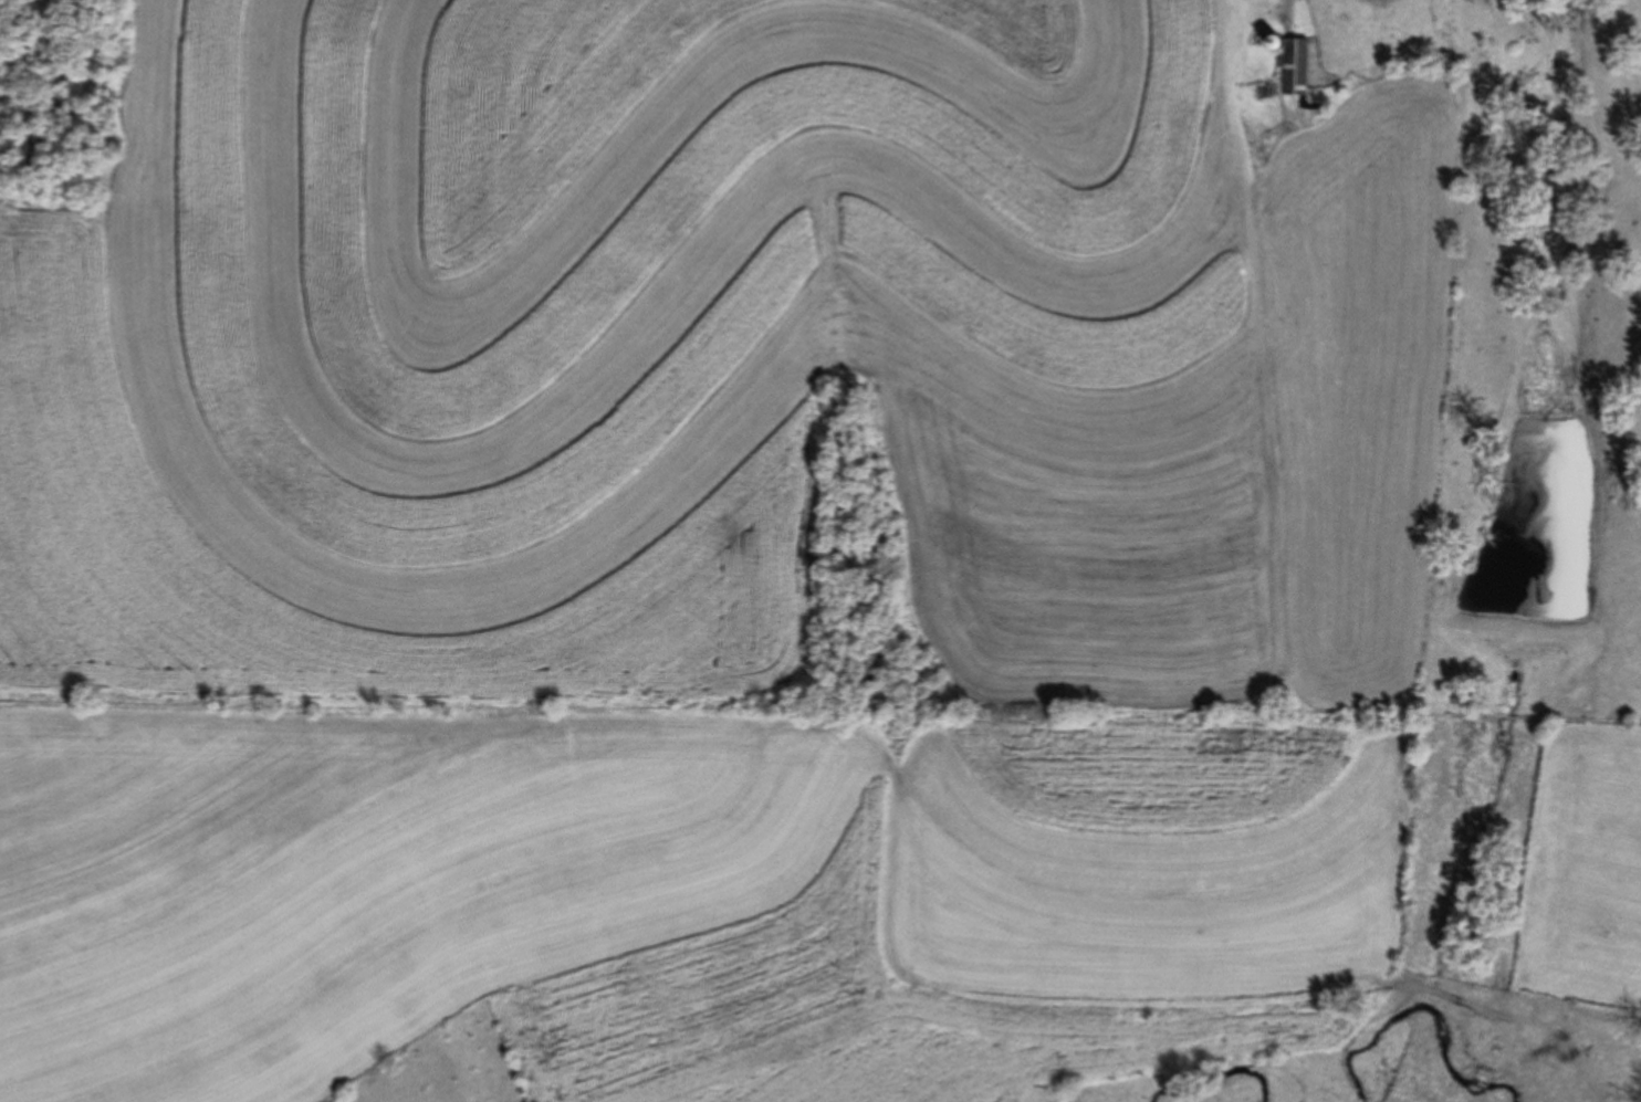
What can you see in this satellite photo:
building: (1295, 66)

